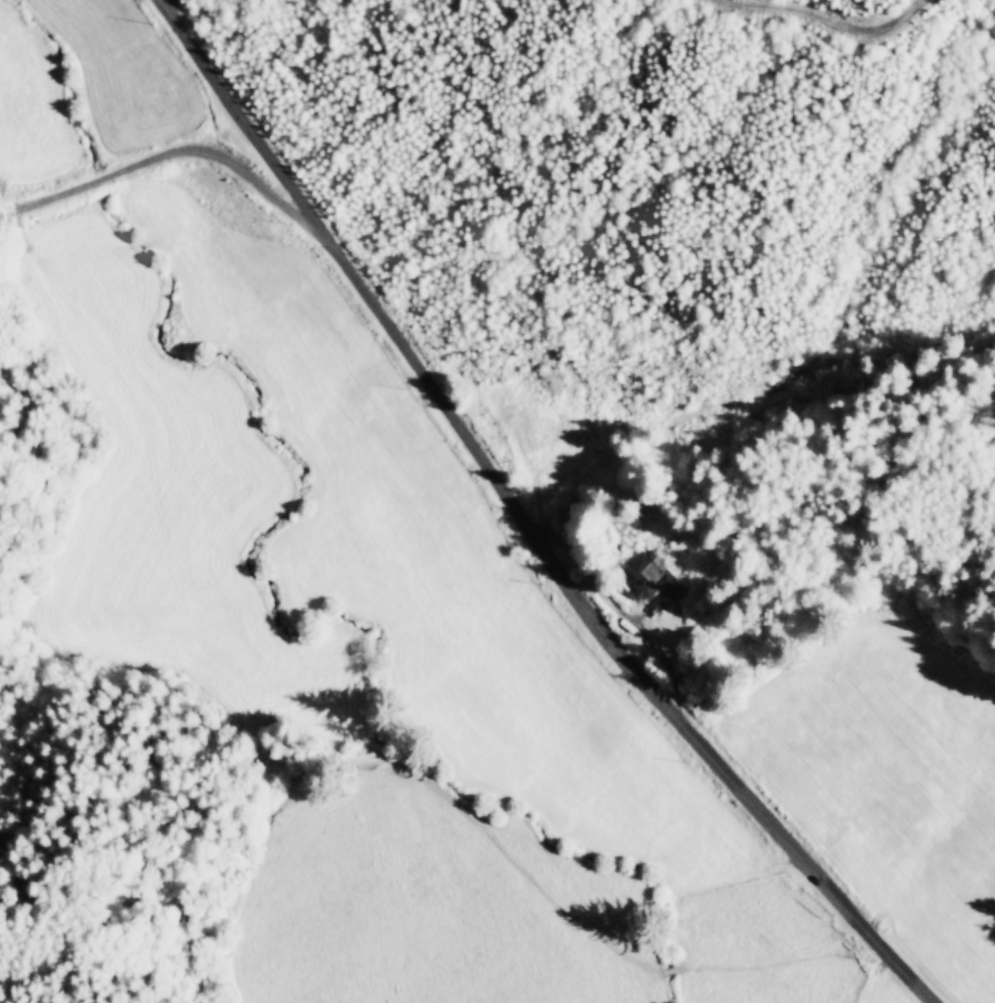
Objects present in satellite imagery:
road: (163, 1)
road: (833, 21)
road: (165, 150)
road: (525, 522)

